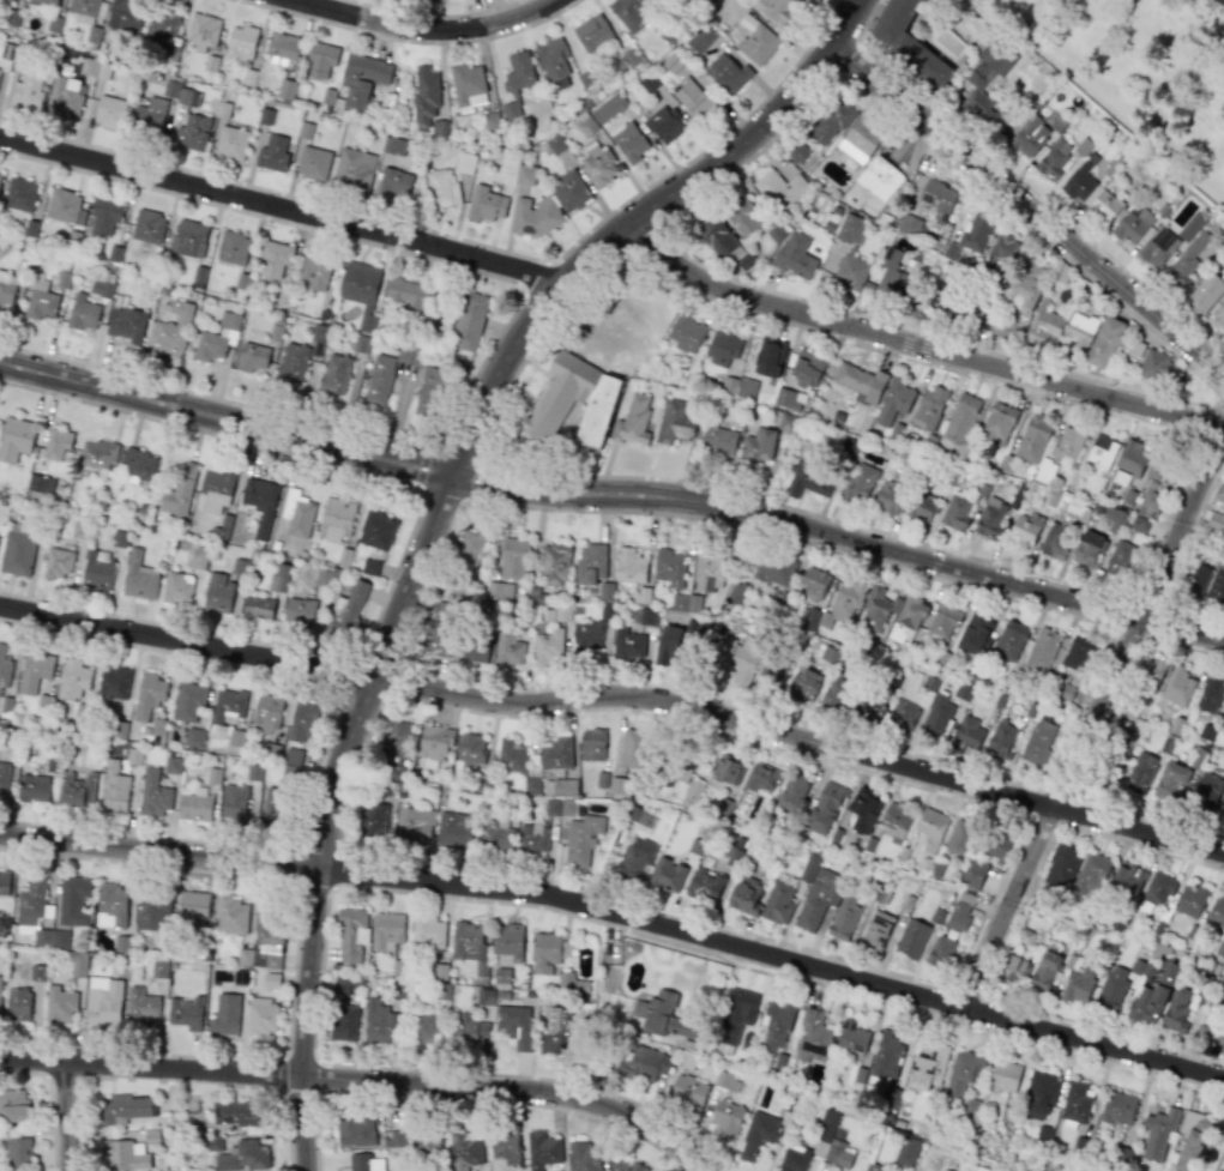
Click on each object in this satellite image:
building: (11, 0)
building: (83, 10)
building: (774, 11)
building: (631, 12)
building: (125, 13)
road: (843, 23)
building: (161, 24)
road: (427, 30)
building: (203, 31)
building: (591, 32)
building: (749, 32)
building: (699, 38)
building: (241, 42)
building: (909, 43)
building: (282, 47)
building: (171, 53)
building: (631, 58)
building: (320, 59)
building: (554, 61)
building: (94, 68)
park: (1139, 71)
building: (726, 73)
building: (363, 78)
building: (984, 80)
building: (515, 82)
building: (468, 86)
building: (285, 87)
building: (28, 90)
building: (179, 92)
building: (424, 95)
building: (327, 96)
building: (65, 97)
building: (691, 98)
building: (109, 111)
building: (599, 113)
building: (147, 117)
building: (489, 120)
building: (828, 121)
building: (664, 123)
building: (438, 128)
building: (192, 132)
building: (1030, 138)
building: (628, 140)
building: (861, 140)
building: (230, 143)
building: (555, 143)
building: (392, 145)
building: (1083, 146)
building: (797, 152)
building: (272, 153)
building: (1053, 159)
building: (464, 162)
building: (313, 163)
building: (598, 165)
building: (354, 169)
building: (524, 174)
building: (0, 176)
building: (880, 179)
building: (1079, 180)
building: (393, 185)
building: (780, 187)
building: (440, 188)
building: (571, 191)
building: (19, 194)
building: (937, 199)
building: (487, 203)
building: (62, 205)
building: (1104, 206)
road: (276, 207)
road: (1029, 209)
building: (536, 215)
building: (104, 216)
building: (743, 217)
building: (909, 224)
building: (1133, 225)
building: (147, 227)
building: (850, 229)
building: (976, 231)
road: (609, 235)
building: (188, 237)
building: (725, 245)
building: (1002, 247)
building: (1157, 247)
building: (233, 248)
building: (949, 251)
building: (794, 255)
building: (1190, 256)
building: (275, 258)
building: (851, 271)
building: (314, 273)
building: (1027, 280)
building: (101, 288)
building: (6, 289)
building: (360, 291)
building: (405, 291)
building: (1206, 291)
building: (939, 300)
building: (40, 301)
building: (82, 313)
building: (970, 313)
building: (1220, 319)
building: (469, 321)
building: (125, 324)
building: (1043, 324)
building: (173, 328)
building: (1003, 328)
building: (1078, 328)
building: (686, 333)
building: (217, 338)
building: (1105, 342)
road: (916, 345)
building: (722, 346)
building: (252, 357)
building: (768, 357)
building: (291, 363)
building: (1156, 364)
building: (807, 367)
building: (334, 374)
building: (860, 382)
building: (378, 385)
building: (744, 388)
building: (788, 398)
building: (595, 399)
building: (894, 400)
road: (225, 417)
building: (960, 417)
road: (396, 418)
building: (632, 419)
building: (784, 422)
building: (997, 422)
building: (676, 423)
building: (14, 439)
building: (1033, 439)
building: (718, 440)
building: (56, 443)
building: (758, 445)
building: (1067, 445)
building: (1102, 451)
building: (96, 455)
building: (1132, 458)
building: (137, 466)
building: (1044, 471)
building: (860, 481)
building: (808, 482)
building: (40, 483)
building: (215, 489)
building: (179, 491)
building: (1220, 495)
building: (888, 496)
building: (259, 503)
building: (1147, 503)
building: (923, 507)
building: (955, 511)
building: (296, 514)
building: (990, 517)
building: (336, 519)
building: (1114, 519)
building: (1139, 525)
building: (222, 527)
building: (1024, 529)
building: (376, 530)
road: (840, 538)
building: (1055, 539)
building: (1086, 549)
building: (468, 551)
building: (17, 553)
building: (513, 557)
building: (197, 559)
building: (1119, 559)
building: (58, 562)
building: (589, 563)
building: (554, 565)
building: (629, 566)
building: (369, 567)
building: (669, 567)
building: (97, 569)
building: (773, 569)
building: (710, 574)
building: (138, 577)
building: (278, 578)
building: (814, 581)
building: (1198, 581)
building: (1216, 586)
building: (736, 587)
building: (499, 590)
building: (217, 593)
building: (639, 594)
building: (535, 596)
building: (677, 602)
building: (692, 603)
building: (258, 608)
building: (348, 608)
building: (833, 608)
building: (878, 609)
building: (299, 611)
building: (556, 614)
building: (643, 616)
building: (906, 620)
building: (943, 620)
building: (439, 628)
building: (975, 630)
building: (586, 634)
building: (1009, 640)
building: (627, 644)
building: (669, 645)
building: (547, 646)
building: (475, 648)
building: (507, 648)
building: (1041, 651)
building: (828, 653)
building: (1077, 653)
building: (741, 660)
building: (4, 668)
building: (34, 671)
building: (1152, 675)
building: (770, 676)
building: (72, 678)
road: (972, 681)
building: (113, 682)
building: (802, 686)
building: (1175, 689)
building: (147, 694)
building: (1210, 694)
road: (617, 696)
building: (833, 698)
building: (187, 700)
building: (227, 706)
building: (867, 706)
building: (267, 711)
building: (937, 716)
road: (1091, 719)
building: (1223, 722)
building: (302, 723)
building: (119, 729)
building: (157, 729)
building: (967, 732)
building: (1124, 732)
building: (1002, 736)
building: (193, 737)
building: (397, 741)
building: (1038, 741)
building: (434, 744)
building: (592, 744)
building: (633, 749)
building: (470, 750)
building: (555, 753)
building: (293, 755)
building: (510, 756)
building: (676, 762)
building: (171, 765)
building: (726, 769)
building: (255, 771)
building: (1139, 772)
building: (4, 777)
building: (762, 778)
building: (1170, 780)
building: (531, 785)
building: (616, 785)
building: (560, 786)
building: (32, 787)
building: (115, 787)
building: (1206, 789)
building: (76, 790)
building: (794, 791)
building: (152, 795)
building: (233, 804)
building: (195, 805)
building: (273, 805)
building: (560, 807)
building: (825, 808)
building: (1222, 808)
building: (863, 810)
road: (331, 813)
building: (644, 820)
building: (897, 820)
building: (372, 821)
building: (414, 825)
building: (930, 829)
building: (453, 831)
building: (532, 838)
building: (580, 838)
building: (960, 838)
building: (996, 847)
building: (631, 861)
building: (809, 867)
building: (1061, 867)
building: (668, 874)
building: (973, 874)
building: (1091, 875)
building: (1127, 879)
building: (4, 883)
building: (705, 885)
building: (1158, 888)
building: (746, 895)
building: (819, 898)
building: (72, 900)
building: (1190, 900)
building: (110, 904)
building: (778, 904)
building: (193, 907)
building: (1217, 911)
building: (152, 912)
building: (958, 912)
building: (36, 913)
building: (231, 915)
road: (619, 916)
building: (845, 918)
building: (387, 930)
building: (876, 930)
road: (1115, 931)
building: (428, 932)
building: (351, 934)
building: (911, 938)
building: (508, 940)
building: (121, 943)
building: (470, 944)
building: (941, 950)
building: (544, 952)
building: (77, 964)
building: (158, 970)
building: (1014, 971)
building: (36, 972)
building: (1045, 972)
building: (501, 974)
building: (0, 978)
building: (271, 980)
building: (571, 983)
building: (346, 985)
building: (1078, 985)
building: (1113, 988)
building: (1153, 996)
building: (483, 997)
building: (18, 1003)
building: (103, 1004)
building: (59, 1006)
building: (140, 1006)
building: (1176, 1009)
building: (655, 1012)
building: (186, 1013)
building: (225, 1014)
building: (736, 1014)
building: (261, 1016)
building: (1223, 1020)
building: (344, 1022)
building: (379, 1022)
building: (515, 1025)
building: (774, 1025)
building: (422, 1027)
building: (470, 1028)
building: (554, 1031)
building: (851, 1036)
building: (813, 1037)
building: (1219, 1042)
building: (643, 1064)
building: (886, 1064)
building: (927, 1068)
building: (961, 1075)
building: (1003, 1076)
road: (362, 1080)
road: (174, 1081)
building: (726, 1081)
road: (299, 1092)
building: (688, 1092)
building: (1039, 1095)
road: (468, 1100)
building: (1077, 1101)
building: (14, 1104)
building: (125, 1107)
building: (1117, 1107)
building: (235, 1112)
road: (70, 1117)
building: (726, 1119)
building: (356, 1131)
building: (1157, 1133)
building: (758, 1134)
building: (150, 1136)
building: (394, 1137)
building: (1190, 1140)
building: (427, 1141)
building: (832, 1141)
building: (213, 1143)
building: (505, 1147)
building: (464, 1148)
building: (542, 1151)
building: (905, 1151)
building: (18, 1152)
building: (122, 1155)
building: (242, 1157)
building: (583, 1157)
road: (1218, 1158)
building: (367, 1160)
building: (631, 1166)
building: (943, 1170)

